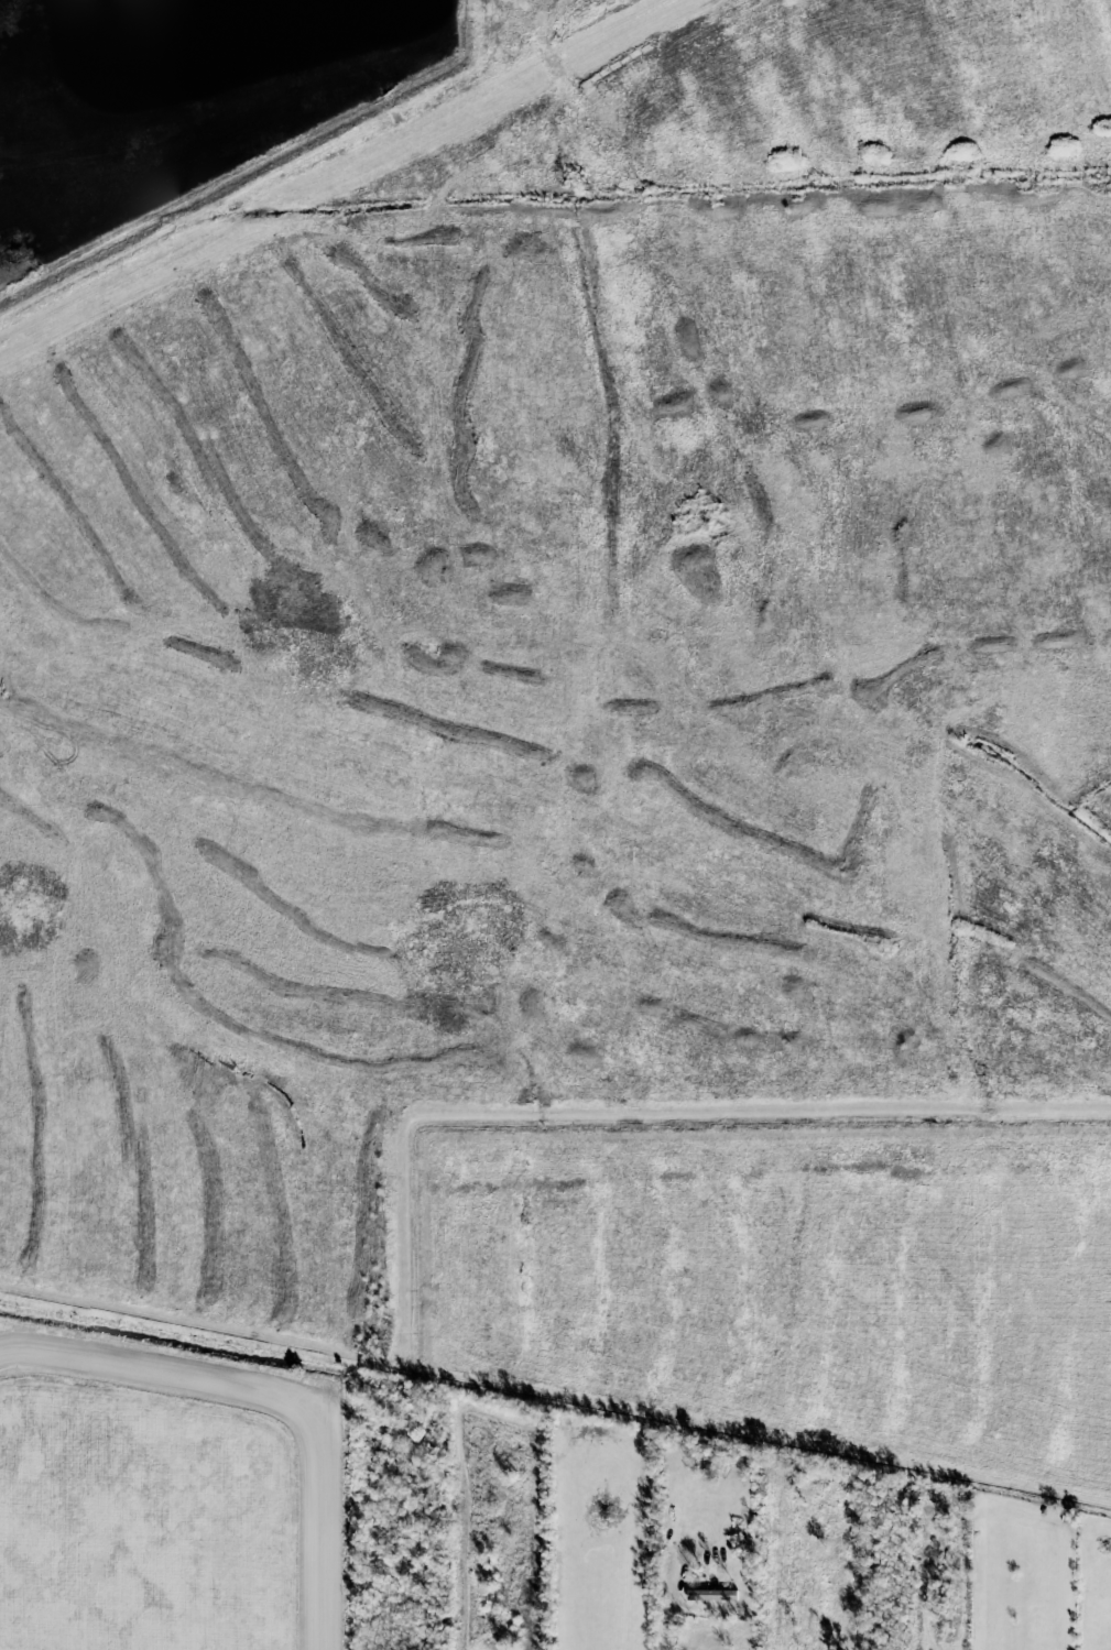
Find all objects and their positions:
building: (711, 1595)
road: (664, 1620)

